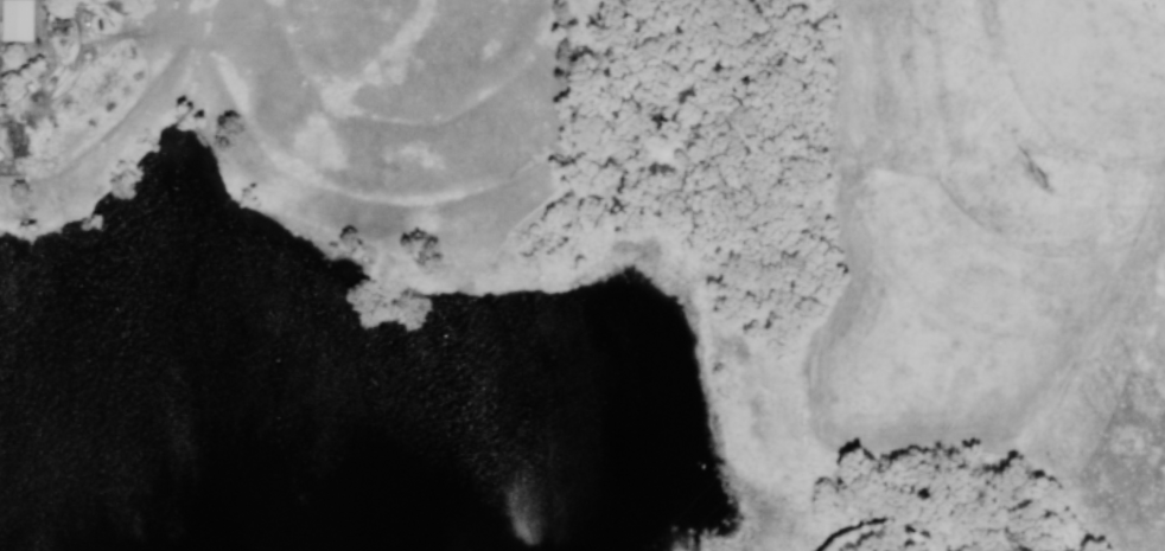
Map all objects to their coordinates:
road: (0, 2)
power tower: (1037, 177)

